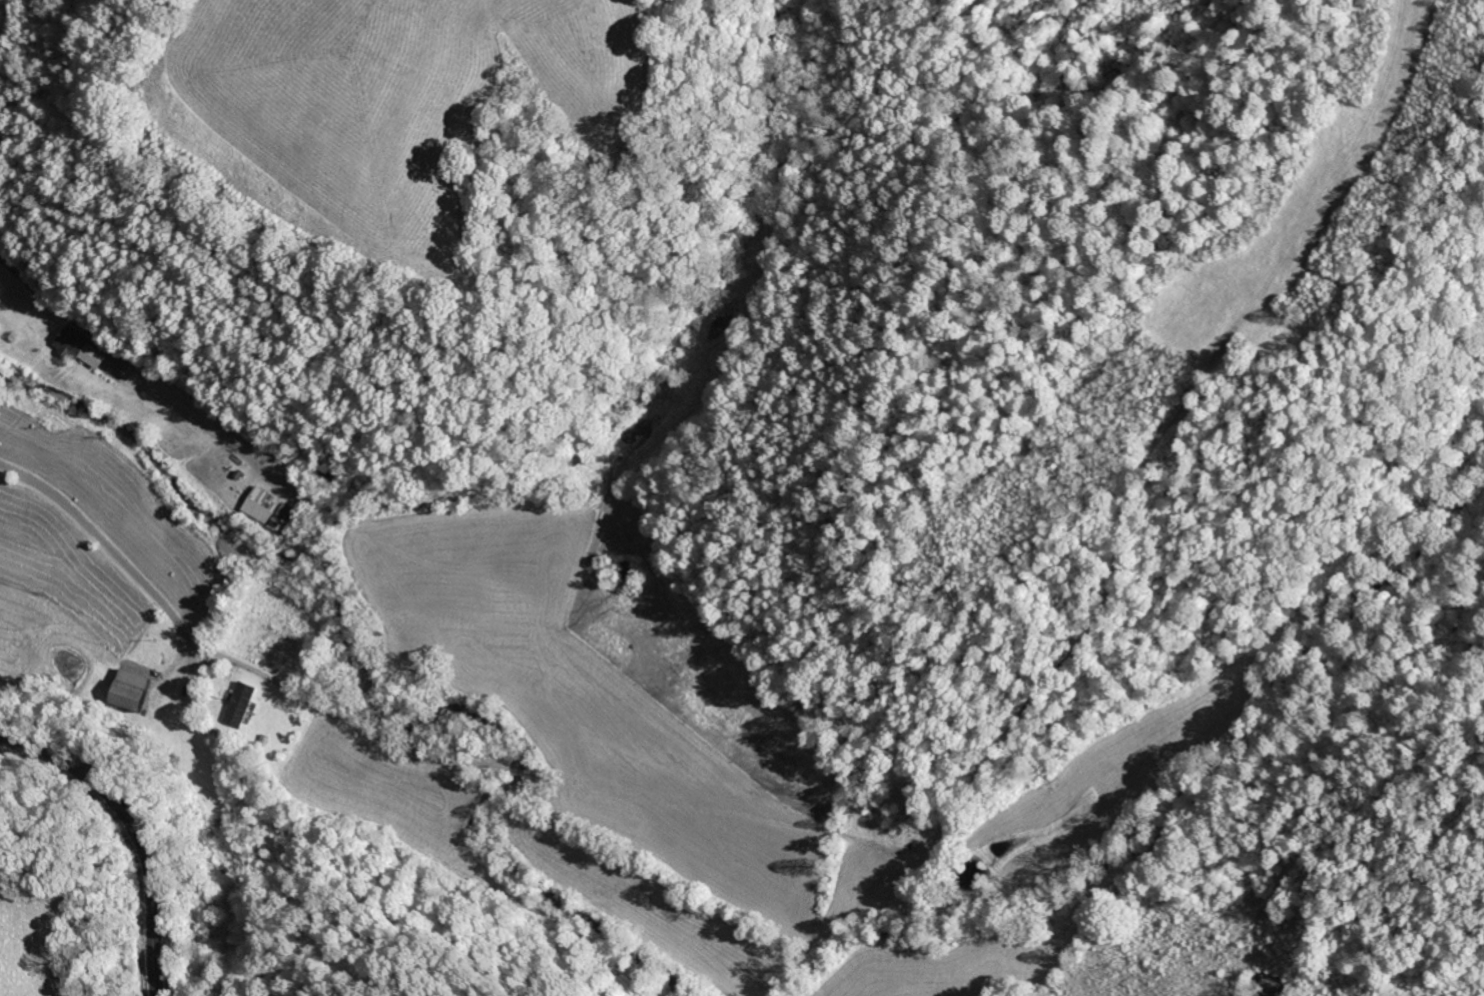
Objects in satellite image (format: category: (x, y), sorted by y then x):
building: (80, 348)
building: (270, 510)
road: (114, 552)
building: (129, 691)
building: (240, 705)
road: (136, 831)

